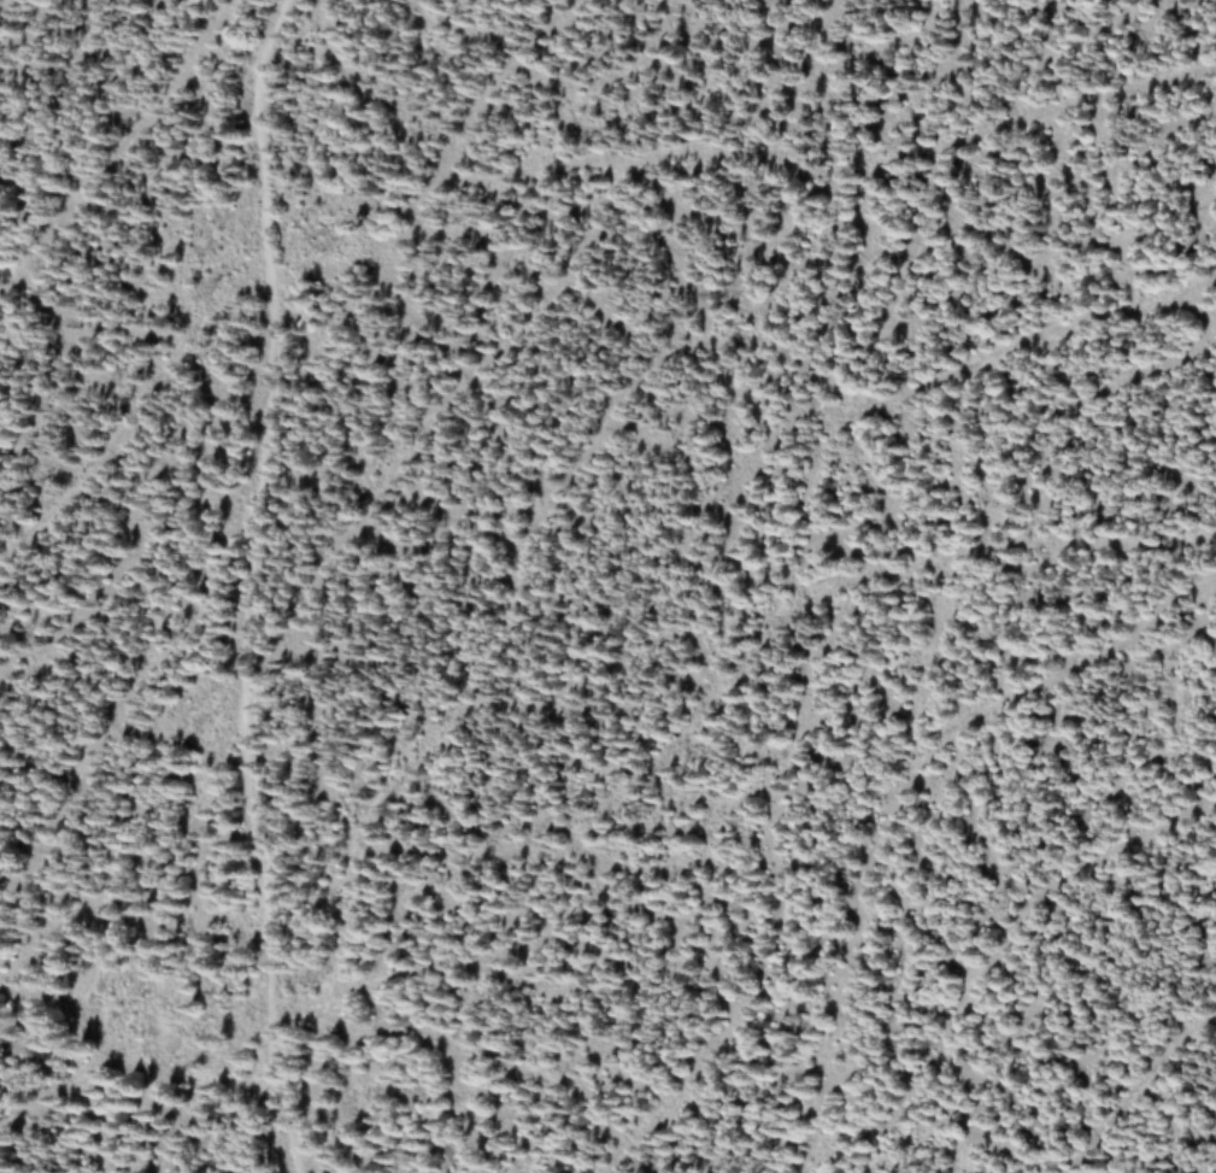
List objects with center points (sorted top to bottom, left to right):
road: (249, 585)

